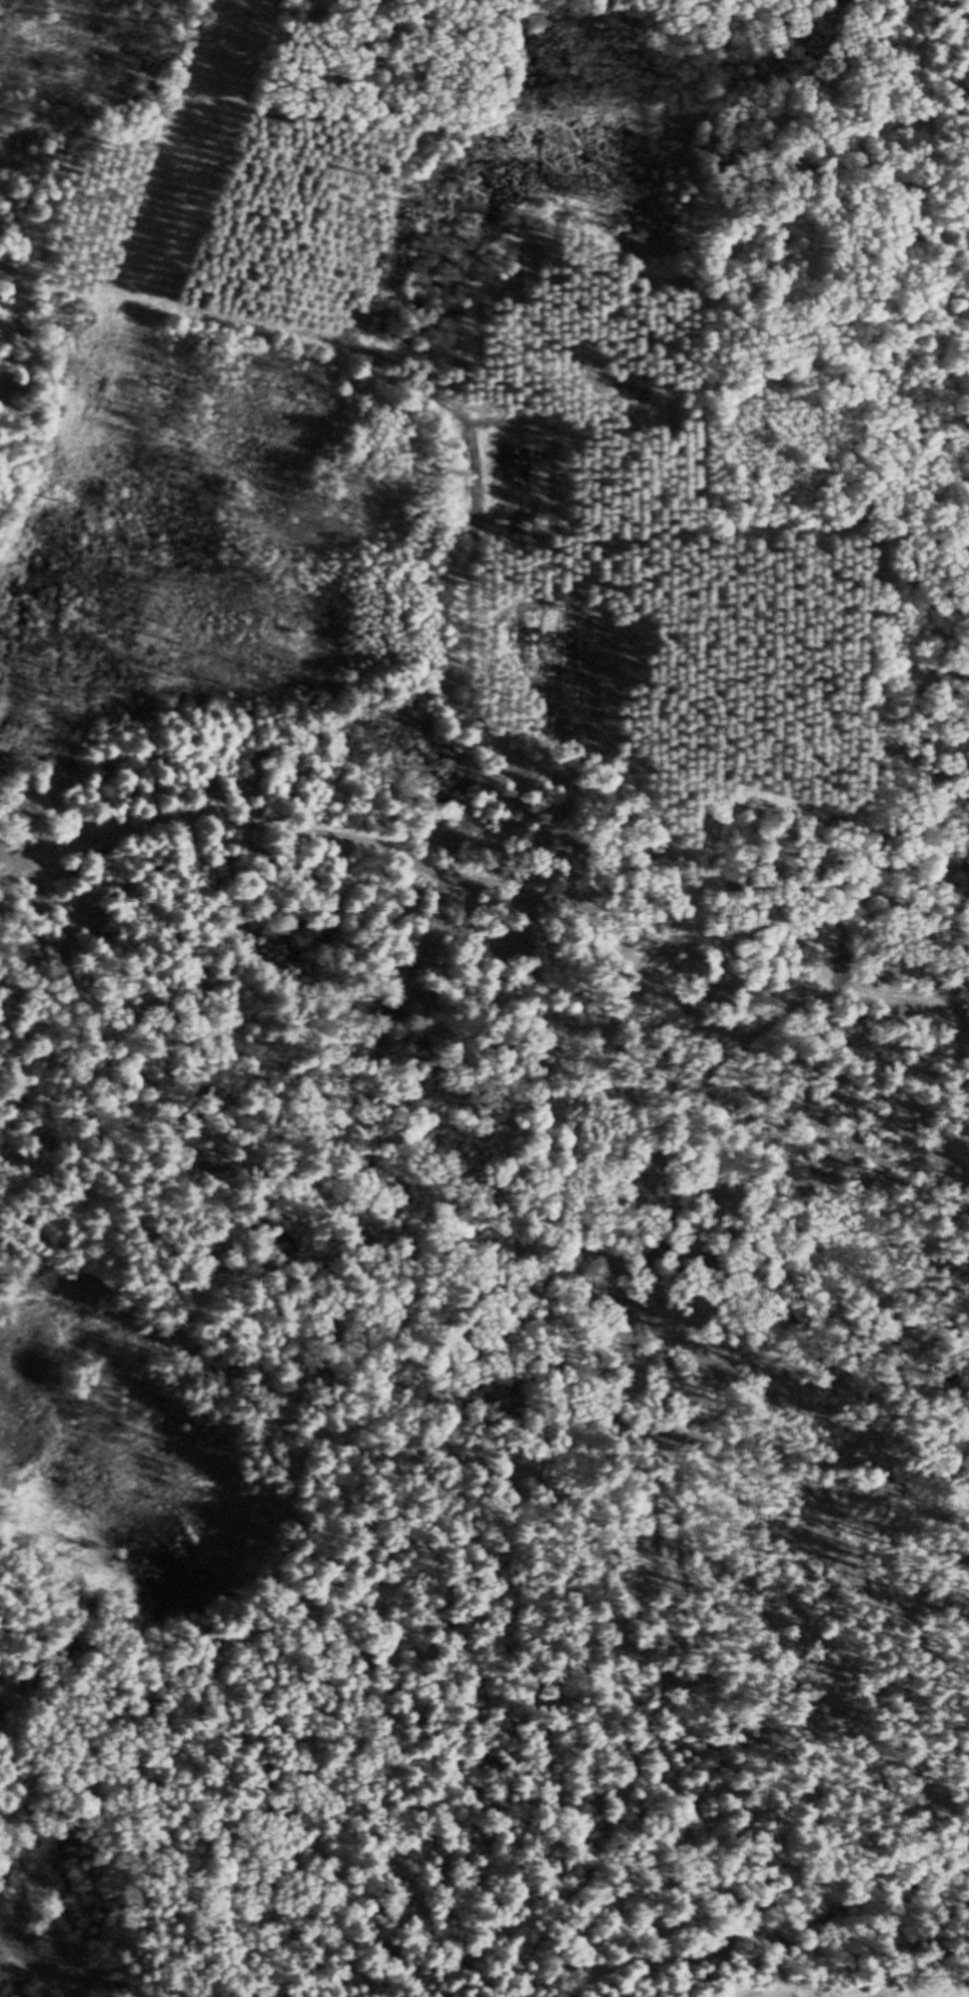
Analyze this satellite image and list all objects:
power tower: (174, 153)
power tower: (51, 481)

